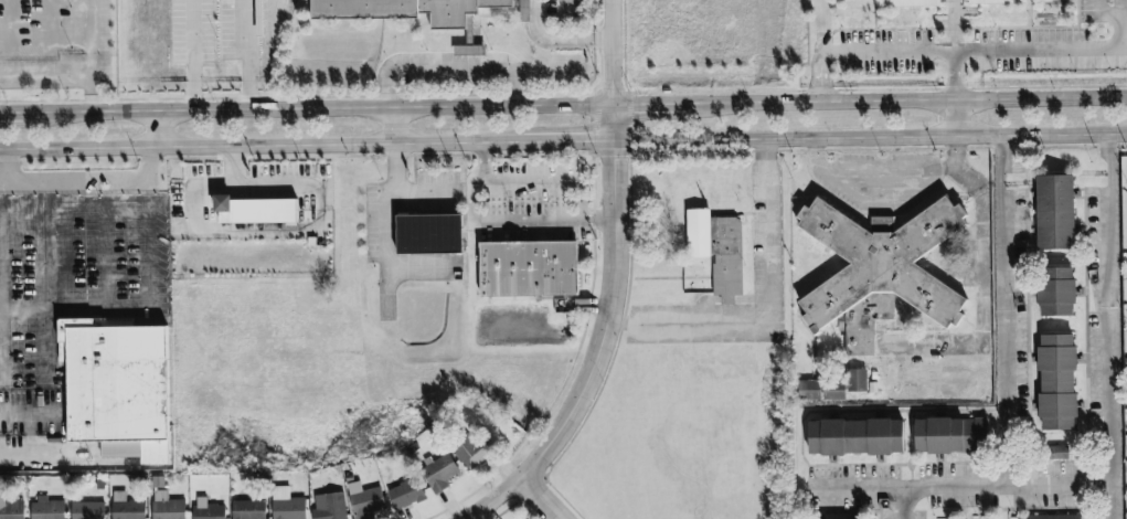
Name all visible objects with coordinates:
building: (997, 2)
building: (907, 3)
building: (414, 10)
road: (564, 11)
road: (1102, 17)
road: (1120, 24)
road: (820, 27)
road: (11, 29)
road: (51, 29)
road: (554, 41)
building: (469, 51)
road: (949, 52)
road: (192, 55)
road: (245, 55)
road: (448, 65)
road: (954, 76)
road: (86, 83)
road: (1040, 98)
road: (476, 106)
road: (954, 118)
road: (387, 125)
road: (152, 130)
road: (1064, 135)
road: (978, 137)
road: (784, 138)
road: (567, 140)
road: (261, 145)
road: (10, 167)
road: (884, 172)
road: (76, 181)
road: (542, 181)
building: (255, 210)
building: (1055, 213)
road: (502, 221)
building: (699, 233)
building: (428, 234)
road: (614, 251)
building: (726, 258)
building: (529, 269)
building: (879, 271)
building: (1056, 292)
road: (25, 306)
road: (766, 309)
road: (1003, 311)
road: (51, 322)
building: (113, 322)
road: (1107, 326)
building: (1057, 383)
building: (833, 388)
building: (117, 389)
road: (177, 393)
building: (950, 436)
building: (855, 437)
building: (474, 451)
building: (1060, 453)
building: (439, 473)
road: (957, 487)
building: (406, 495)
road: (496, 500)
road: (546, 500)
building: (365, 501)
road: (904, 504)
building: (287, 505)
building: (126, 507)
building: (167, 507)
building: (330, 507)
building: (47, 509)
building: (12, 510)
building: (87, 510)
building: (208, 510)
building: (248, 510)
building: (1056, 517)

